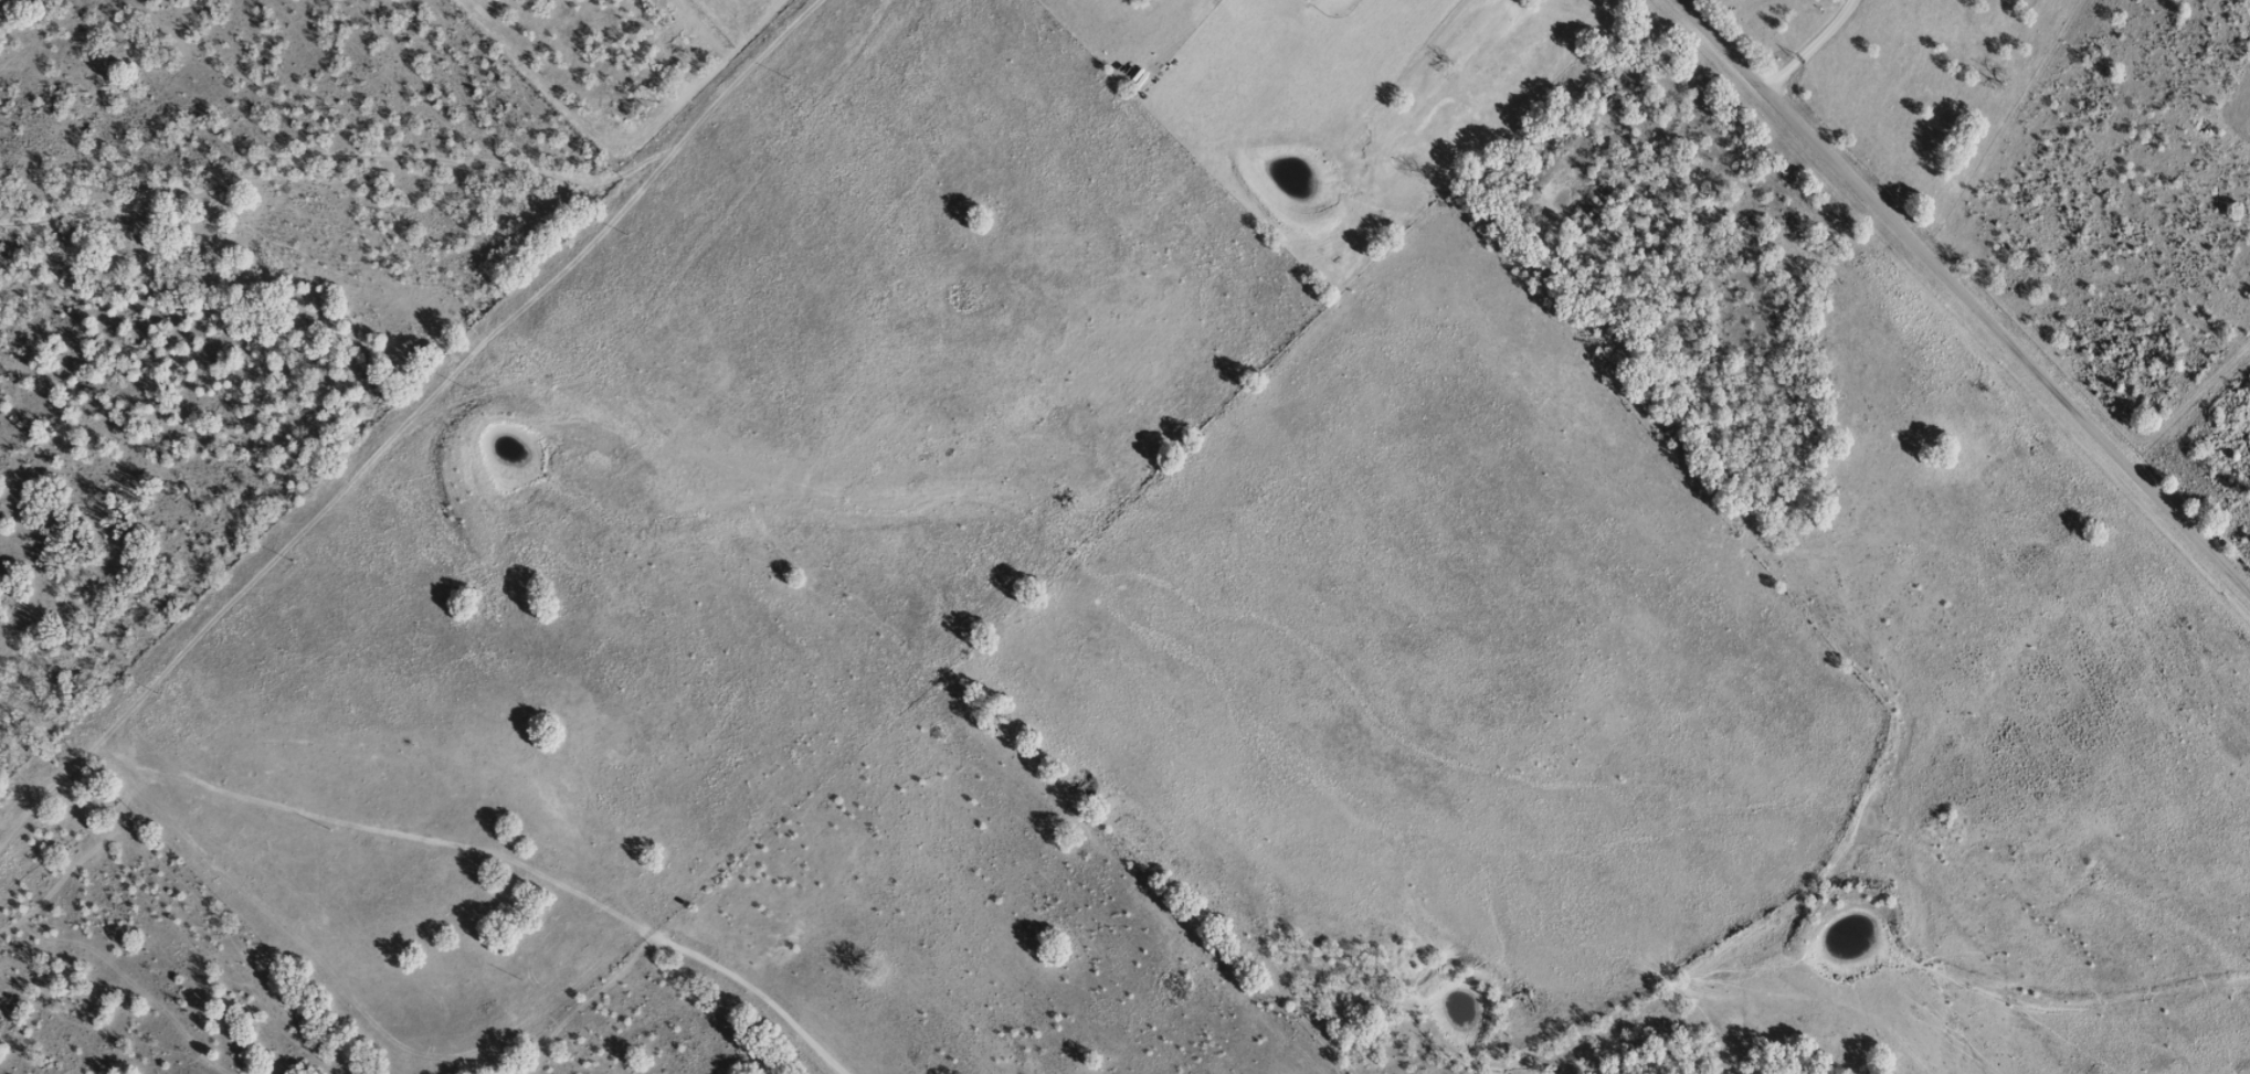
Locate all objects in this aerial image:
road: (1941, 299)
road: (400, 397)
road: (1943, 579)

